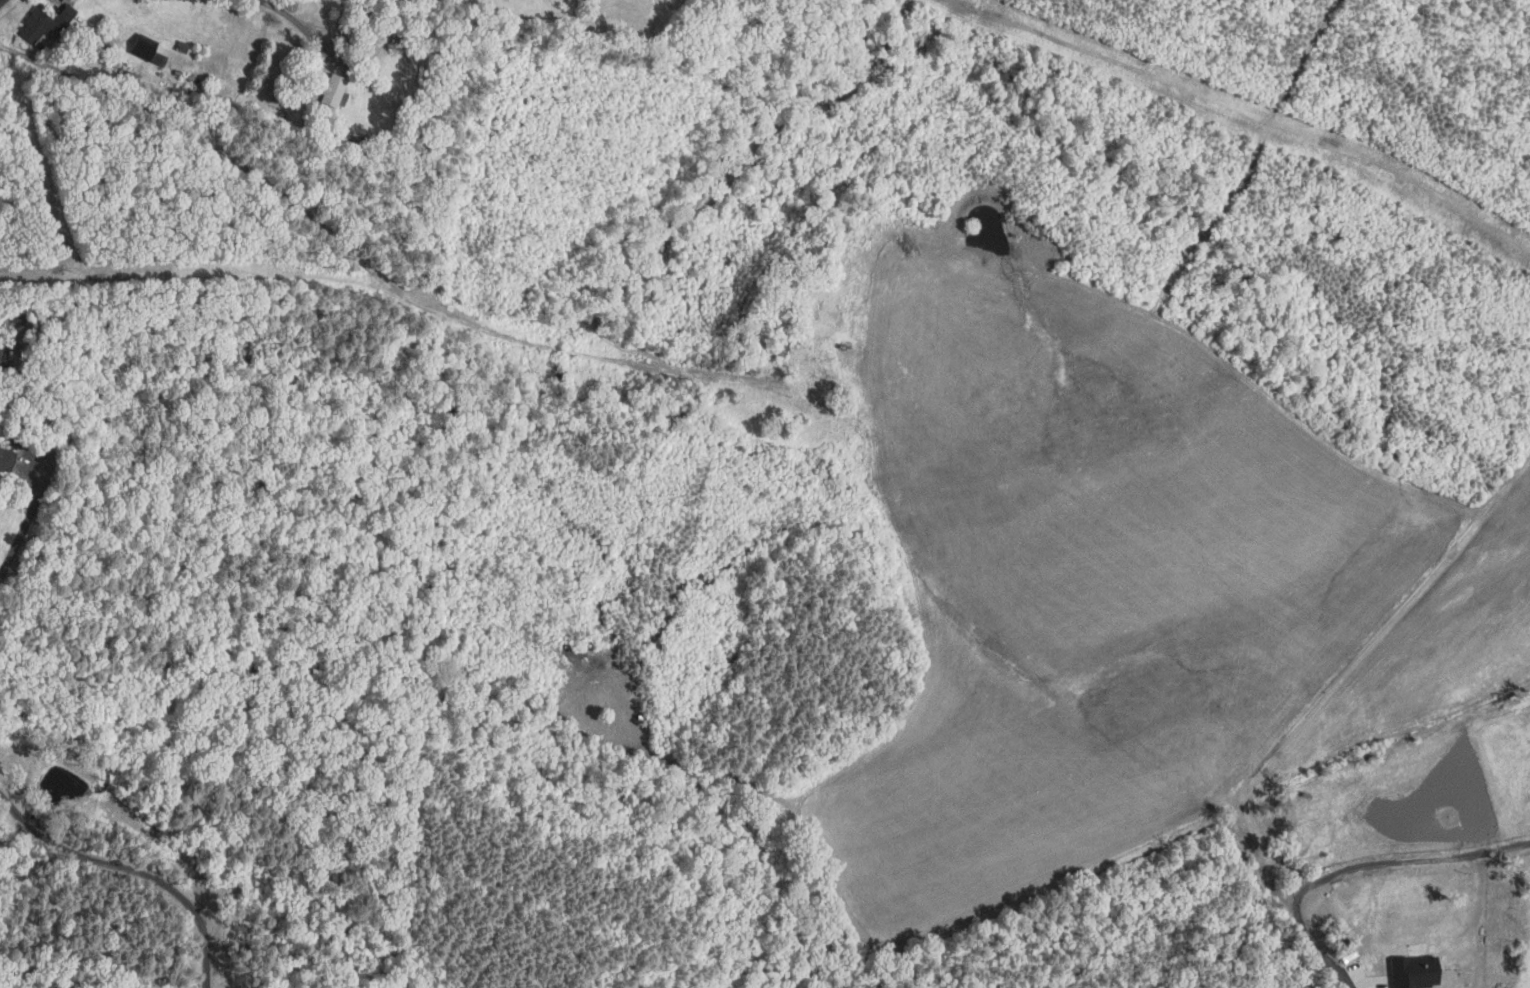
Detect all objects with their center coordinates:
building: (44, 22)
road: (297, 26)
building: (140, 47)
building: (181, 47)
building: (116, 54)
building: (157, 60)
building: (130, 76)
building: (127, 89)
building: (331, 89)
building: (186, 112)
building: (356, 148)
building: (834, 275)
building: (16, 319)
building: (776, 349)
building: (6, 459)
road: (25, 527)
road: (1338, 679)
road: (1397, 861)
road: (132, 870)
road: (1321, 955)
building: (1412, 971)
road: (1377, 986)

